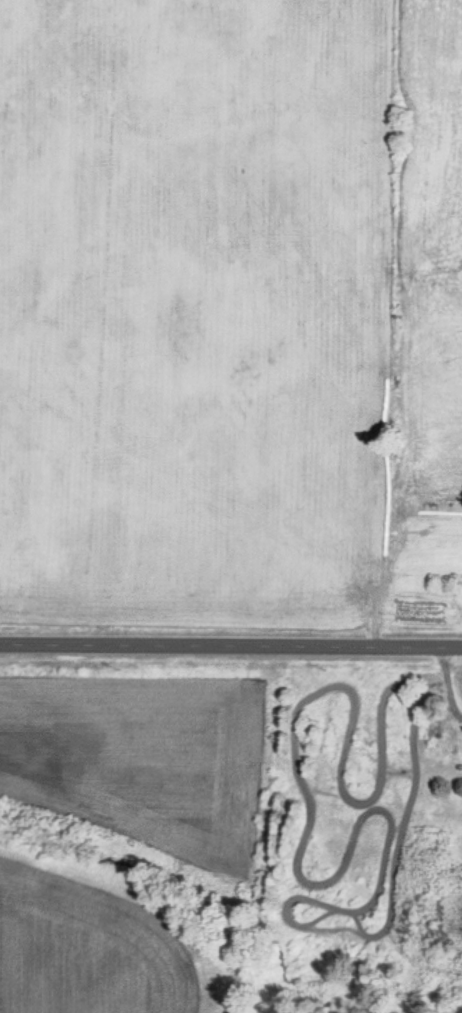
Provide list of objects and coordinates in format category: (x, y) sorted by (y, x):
road: (231, 637)

